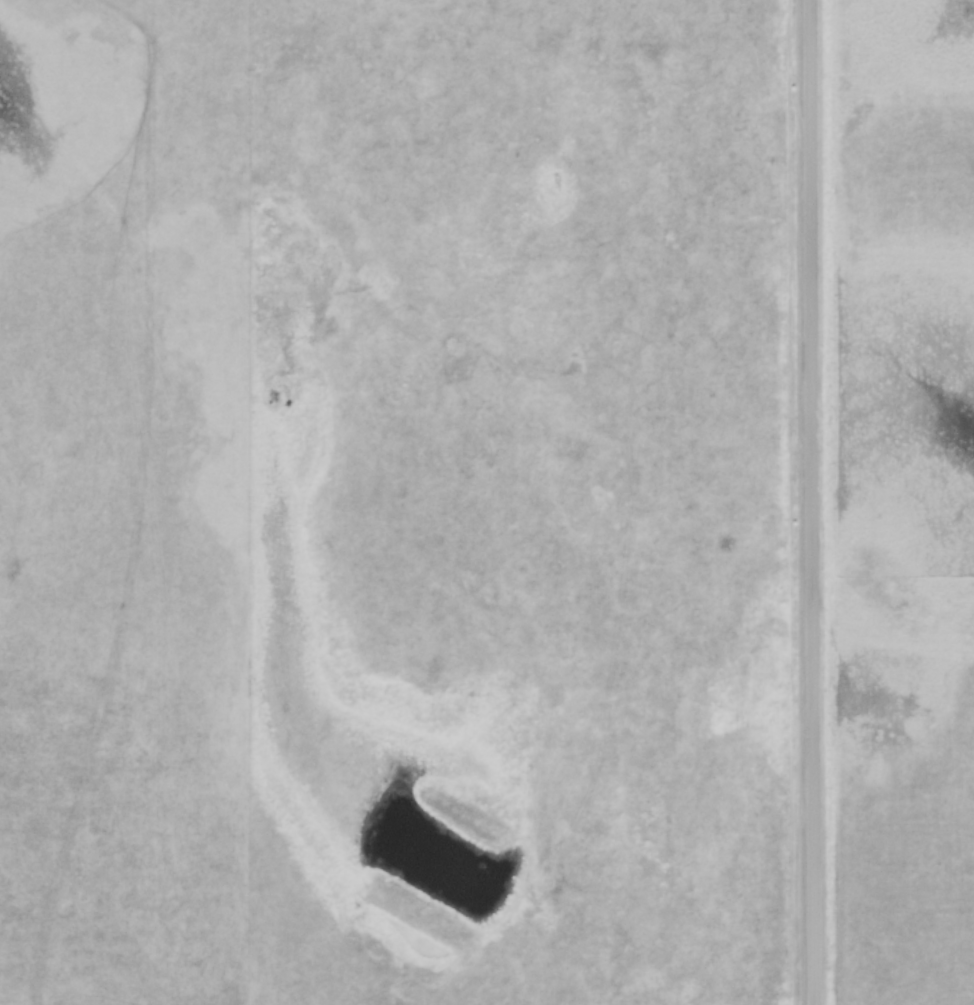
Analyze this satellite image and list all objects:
road: (813, 502)

